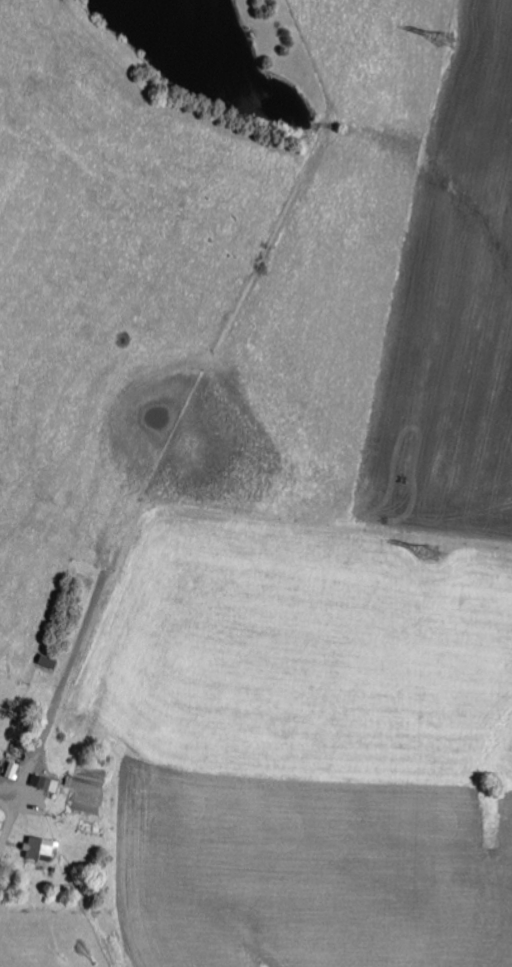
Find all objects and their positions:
power tower: (452, 48)
power tower: (435, 558)
building: (47, 781)
road: (11, 838)
building: (43, 847)

